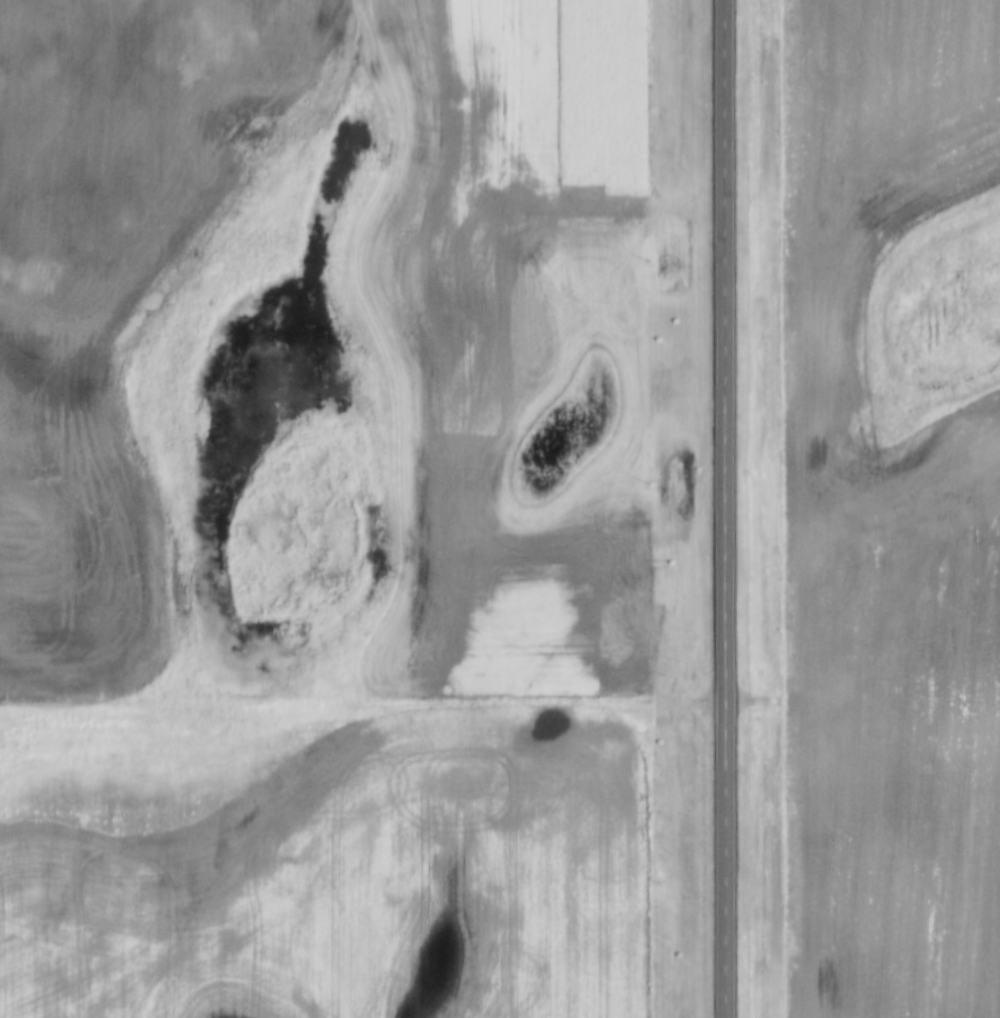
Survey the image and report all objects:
road: (726, 509)

